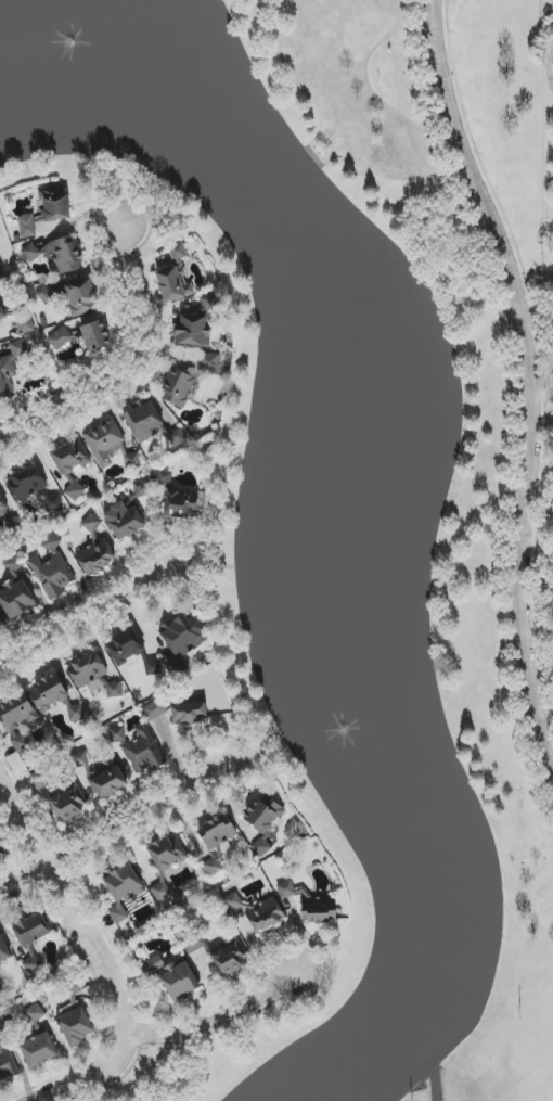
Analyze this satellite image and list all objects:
fountain: (73, 50)
road: (322, 125)
road: (318, 155)
building: (47, 209)
building: (178, 252)
building: (56, 254)
building: (0, 271)
building: (173, 283)
building: (46, 294)
building: (80, 297)
building: (208, 302)
building: (18, 318)
building: (94, 333)
building: (59, 338)
building: (208, 366)
building: (10, 368)
road: (129, 368)
road: (529, 384)
building: (177, 387)
road: (511, 389)
building: (142, 421)
building: (105, 441)
building: (70, 464)
building: (162, 476)
building: (27, 485)
building: (53, 503)
building: (180, 504)
building: (3, 511)
building: (127, 514)
building: (91, 523)
building: (95, 556)
building: (52, 569)
building: (16, 598)
road: (83, 617)
building: (1, 624)
building: (182, 641)
building: (125, 645)
building: (152, 667)
building: (94, 676)
building: (48, 692)
fountain: (355, 705)
building: (178, 709)
building: (76, 713)
building: (17, 719)
building: (141, 752)
building: (42, 781)
building: (69, 804)
building: (263, 820)
road: (112, 831)
building: (2, 852)
building: (166, 860)
building: (211, 867)
building: (123, 889)
building: (285, 889)
building: (233, 902)
road: (72, 906)
building: (319, 910)
building: (265, 916)
building: (31, 937)
building: (194, 943)
building: (4, 948)
building: (229, 959)
building: (0, 969)
building: (172, 976)
building: (76, 988)
building: (0, 989)
building: (35, 1013)
building: (76, 1026)
building: (1, 1029)
road: (165, 1036)
building: (38, 1050)
building: (7, 1066)

